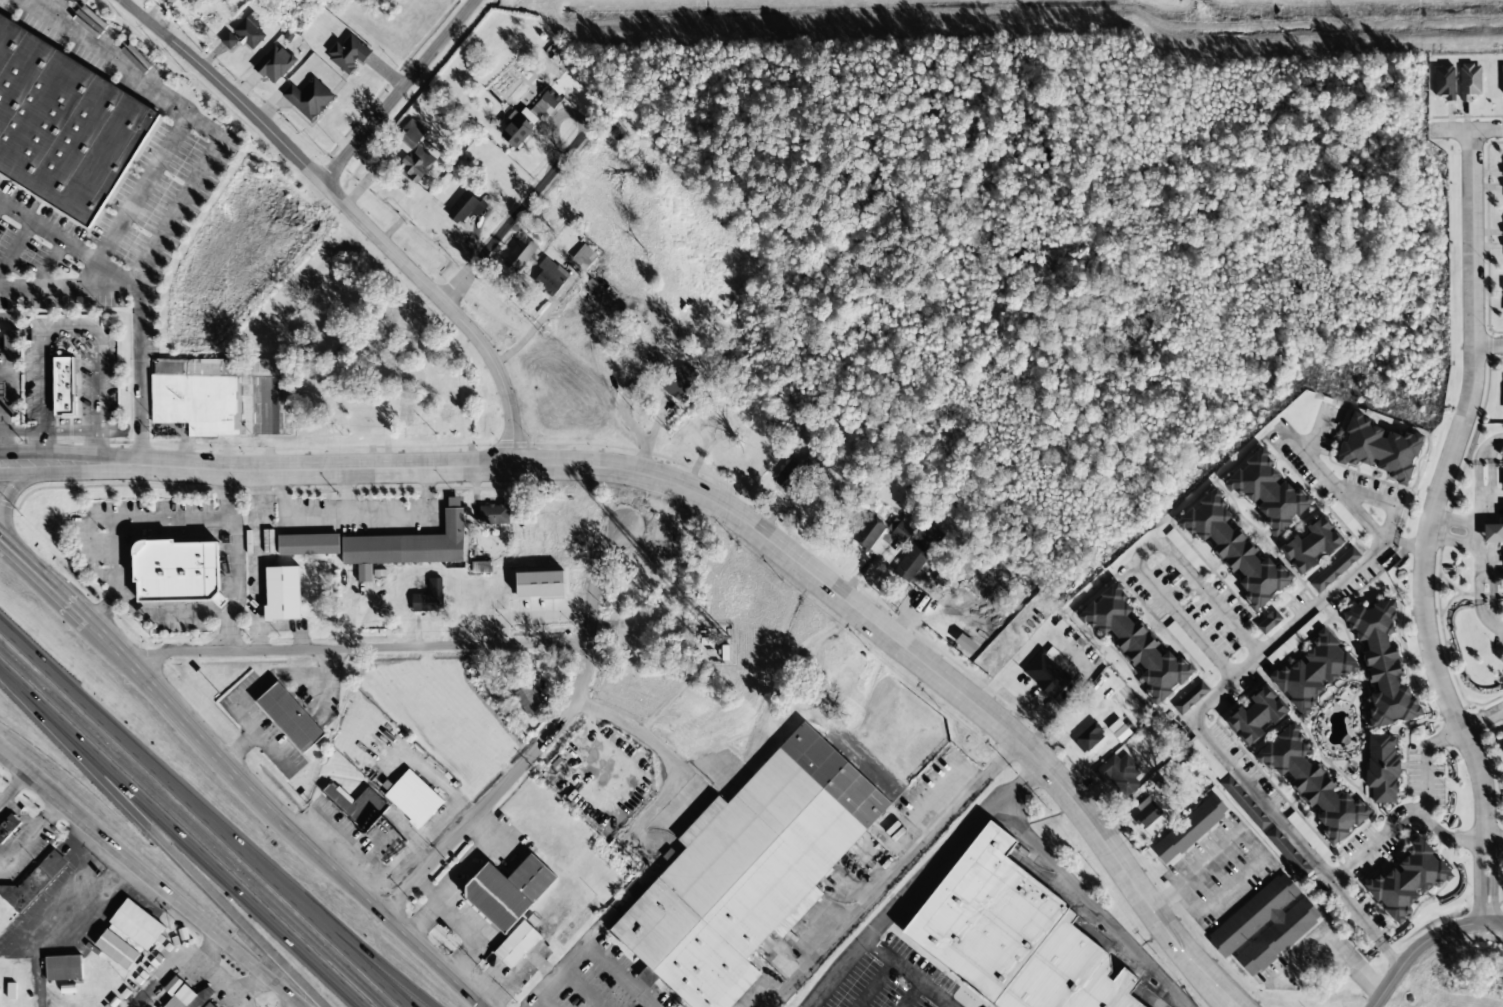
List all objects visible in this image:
building: (245, 33)
building: (348, 53)
building: (275, 63)
building: (1502, 78)
building: (1444, 81)
building: (1469, 81)
road: (399, 92)
building: (308, 97)
building: (530, 116)
building: (65, 126)
road: (1486, 128)
road: (1449, 129)
building: (410, 151)
parking lot: (93, 166)
building: (463, 207)
road: (349, 211)
road: (509, 244)
road: (67, 246)
building: (521, 252)
building: (584, 257)
building: (552, 280)
road: (135, 310)
building: (1502, 312)
building: (406, 322)
building: (12, 341)
road: (68, 343)
road: (1488, 345)
road: (10, 364)
parking lot: (68, 373)
building: (680, 381)
building: (64, 385)
parking lot: (8, 387)
building: (3, 389)
building: (224, 395)
building: (405, 409)
building: (445, 412)
road: (47, 432)
building: (1382, 448)
road: (0, 458)
building: (800, 467)
road: (252, 472)
road: (1331, 484)
road: (1441, 486)
building: (1271, 493)
road: (2, 495)
building: (494, 515)
road: (132, 521)
building: (869, 532)
building: (901, 532)
building: (411, 543)
building: (308, 544)
building: (1314, 545)
building: (1236, 551)
road: (1143, 553)
parking lot: (165, 560)
building: (913, 561)
building: (1196, 562)
building: (480, 567)
building: (1335, 569)
building: (178, 571)
building: (540, 584)
road: (234, 585)
building: (283, 593)
building: (428, 597)
road: (162, 612)
building: (1269, 622)
building: (1295, 638)
building: (1135, 643)
road: (358, 649)
road: (913, 654)
building: (1385, 664)
building: (1315, 671)
building: (1055, 675)
building: (1191, 697)
building: (528, 701)
building: (1258, 715)
building: (291, 717)
road: (1482, 720)
road: (1204, 727)
building: (1119, 730)
building: (1089, 737)
road: (543, 744)
building: (1502, 745)
building: (1205, 756)
building: (1384, 769)
road: (238, 772)
building: (1120, 773)
building: (1315, 785)
building: (413, 798)
building: (1244, 802)
building: (358, 805)
building: (1148, 814)
road: (201, 817)
road: (1398, 817)
building: (8, 827)
building: (1190, 829)
road: (153, 832)
road: (183, 834)
road: (1494, 837)
road: (1488, 843)
building: (1287, 851)
road: (1477, 851)
road: (159, 866)
building: (750, 869)
building: (1410, 881)
building: (33, 882)
road: (1492, 887)
building: (510, 891)
road: (1478, 897)
building: (137, 924)
building: (1265, 925)
building: (1013, 936)
road: (349, 942)
building: (518, 944)
road: (1428, 944)
building: (118, 949)
building: (64, 967)
building: (169, 988)
building: (187, 997)
road: (1225, 1001)
road: (296, 1002)

